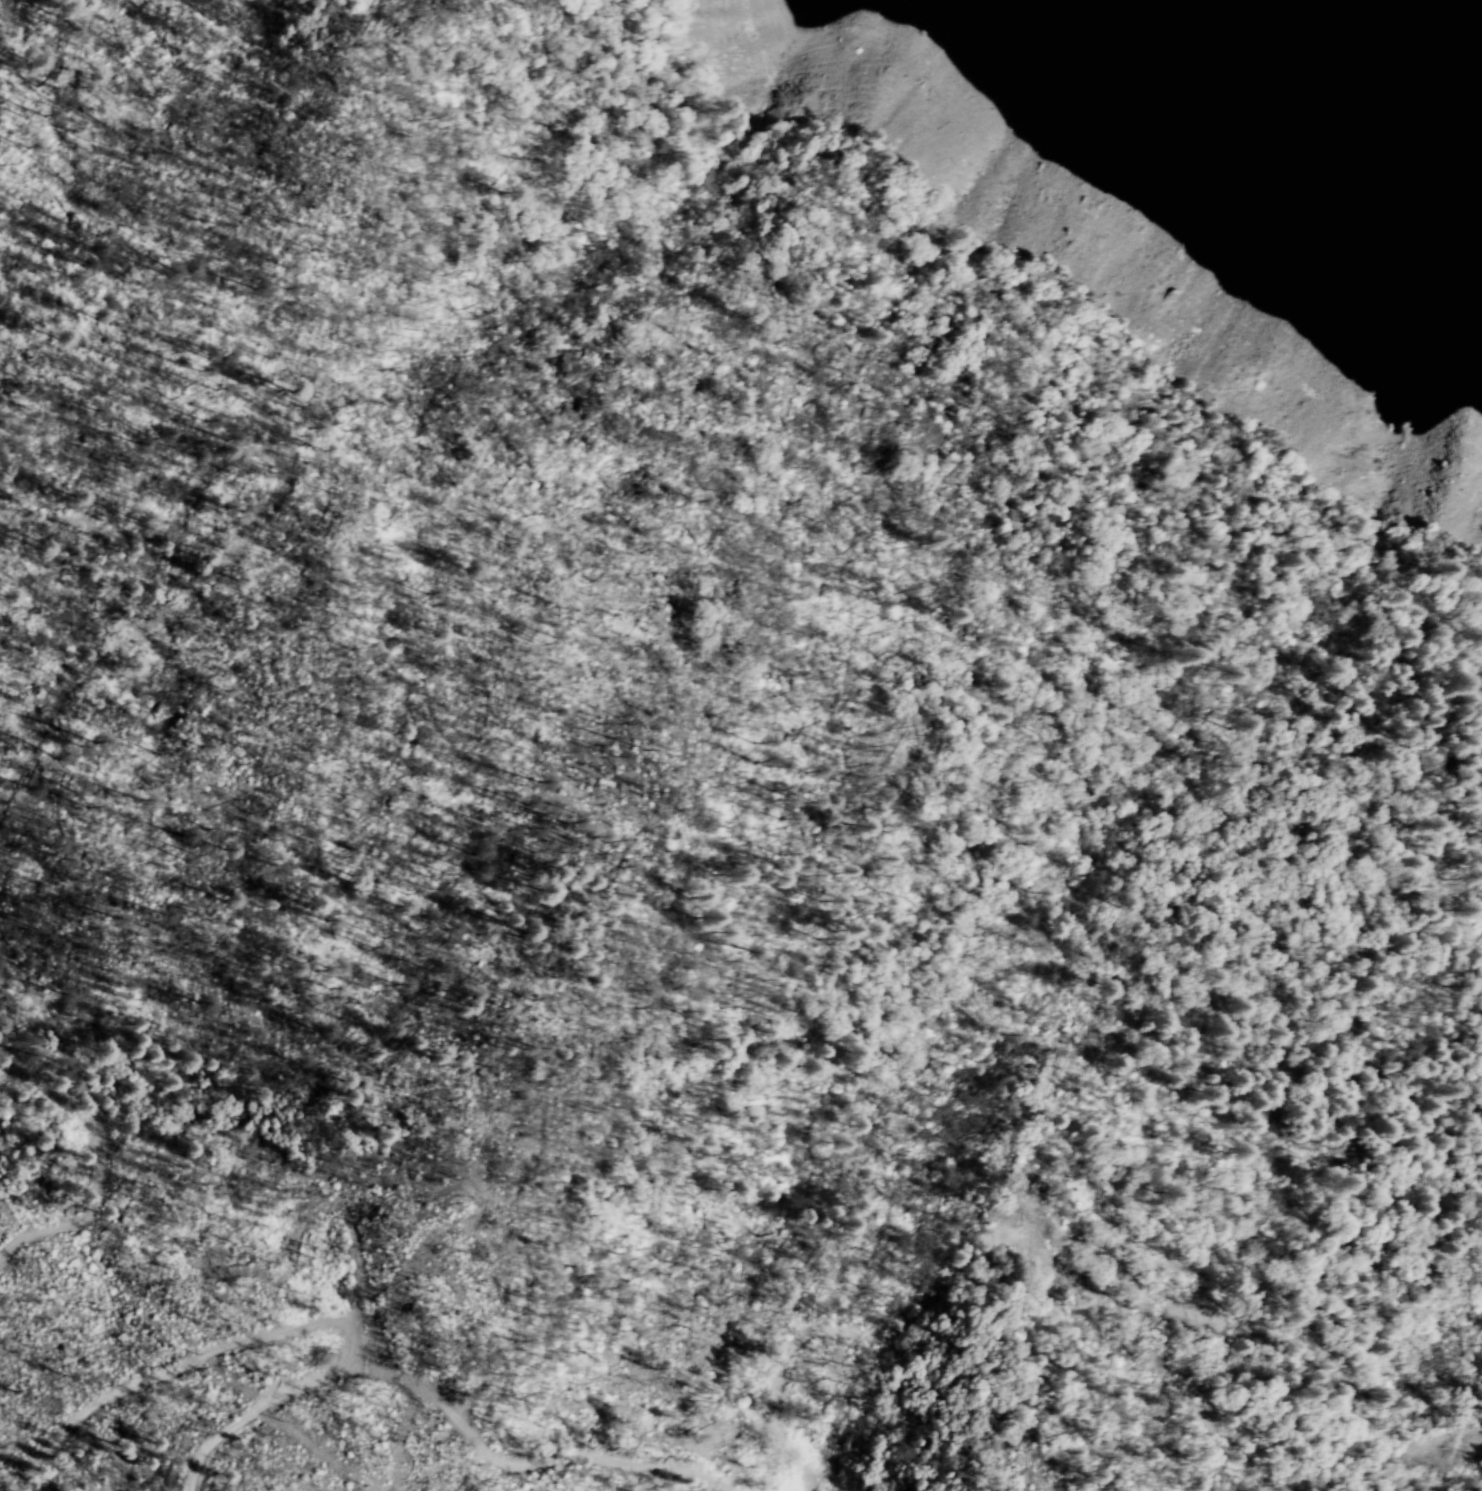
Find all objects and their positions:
river: (1467, 11)
road: (86, 677)
road: (268, 1316)

